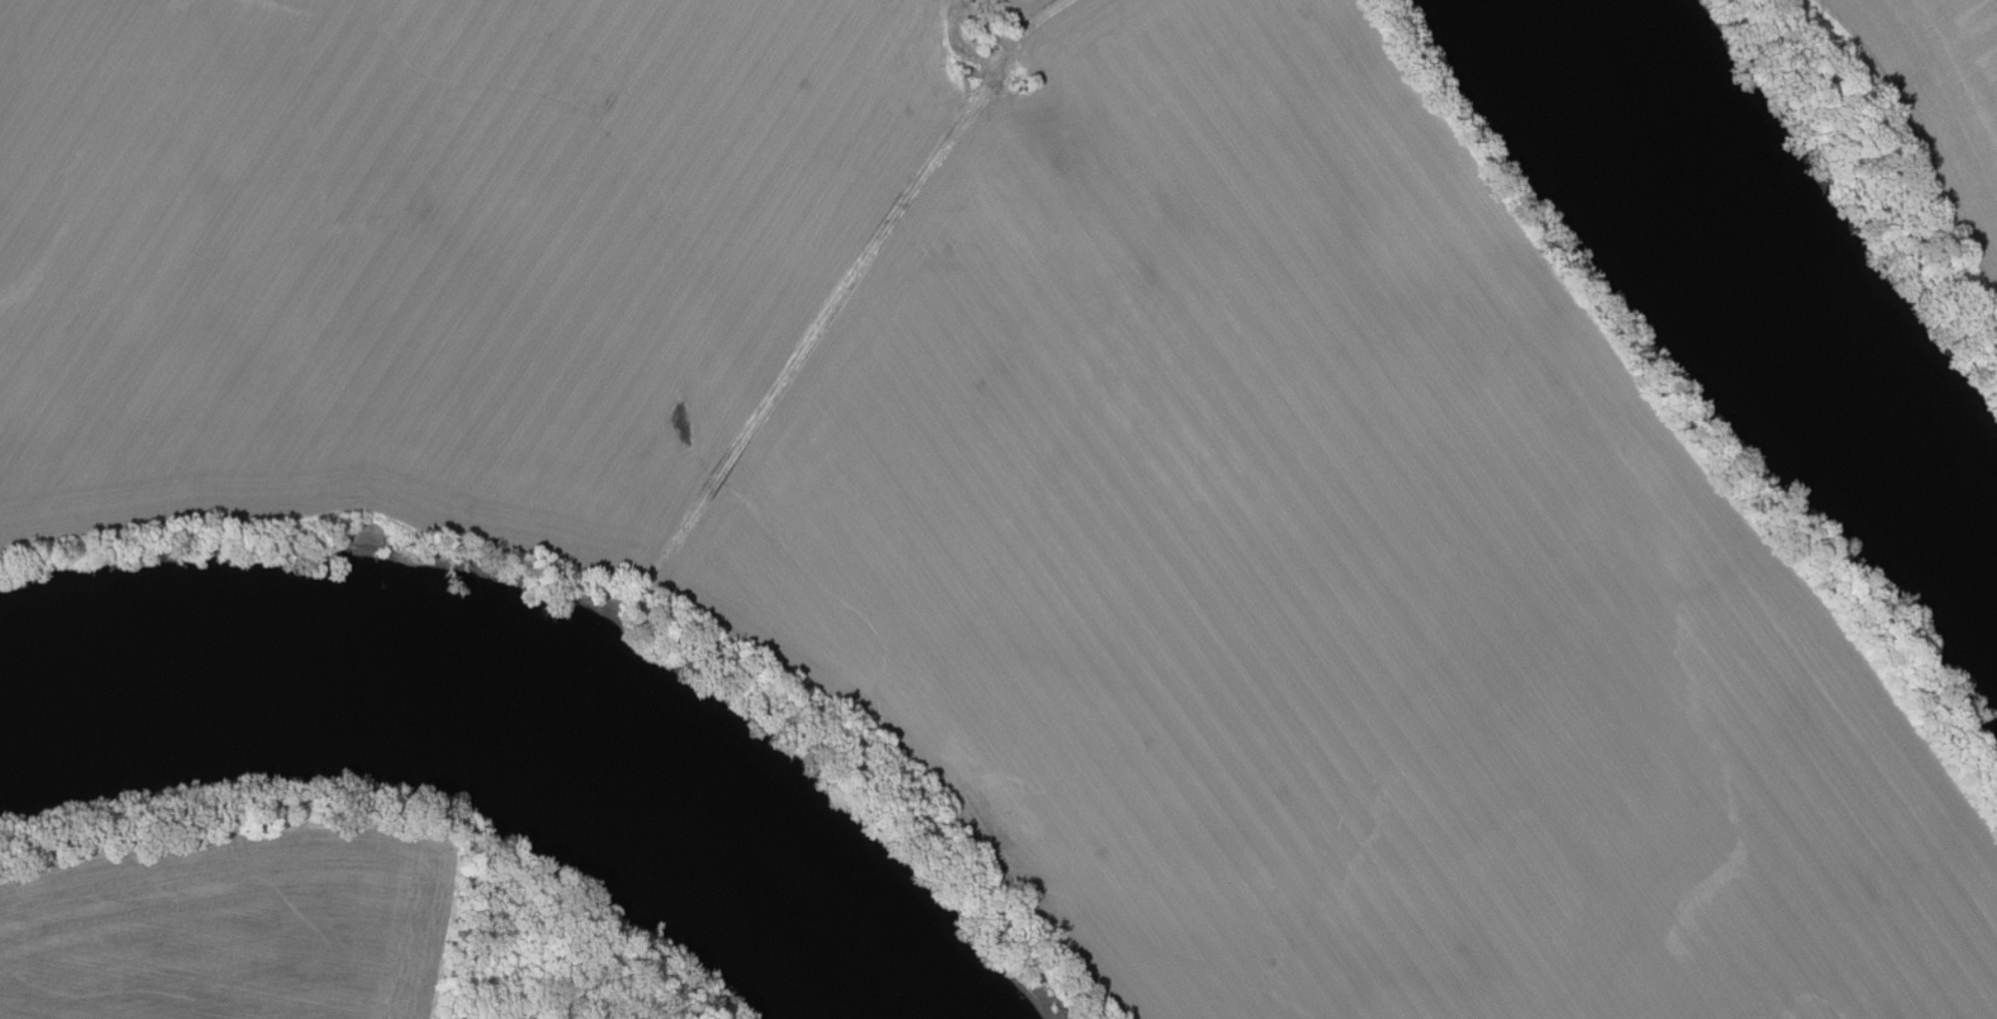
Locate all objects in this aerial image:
river: (1755, 299)
river: (494, 708)

